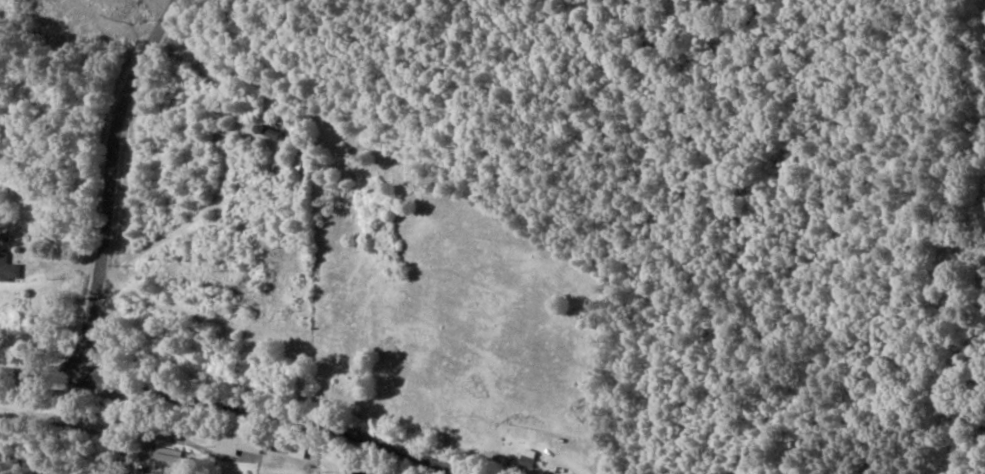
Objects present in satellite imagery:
road: (114, 194)
building: (9, 266)
road: (185, 432)
building: (236, 441)

